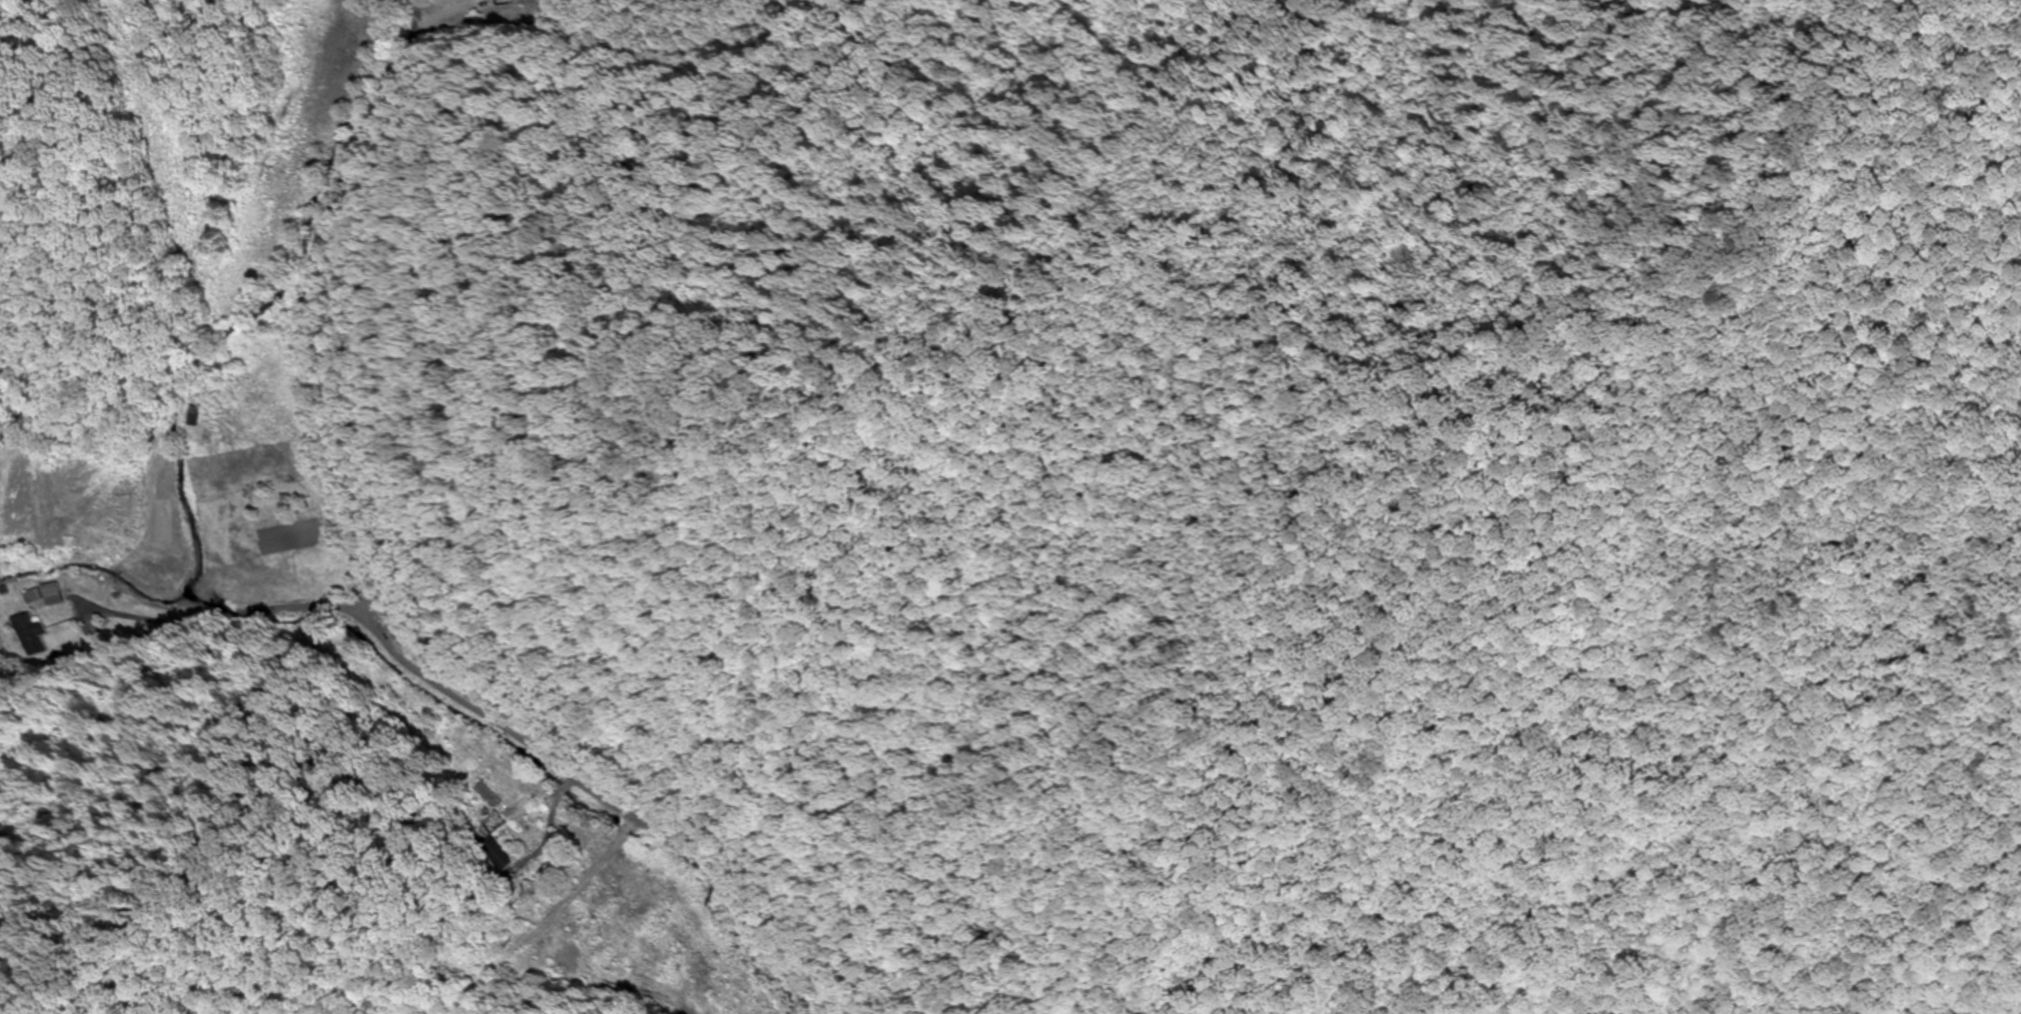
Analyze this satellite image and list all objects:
building: (501, 1)
road: (306, 299)
building: (196, 415)
building: (137, 515)
building: (43, 596)
road: (184, 629)
building: (25, 635)
building: (483, 793)
road: (612, 802)
building: (492, 822)
building: (497, 852)

